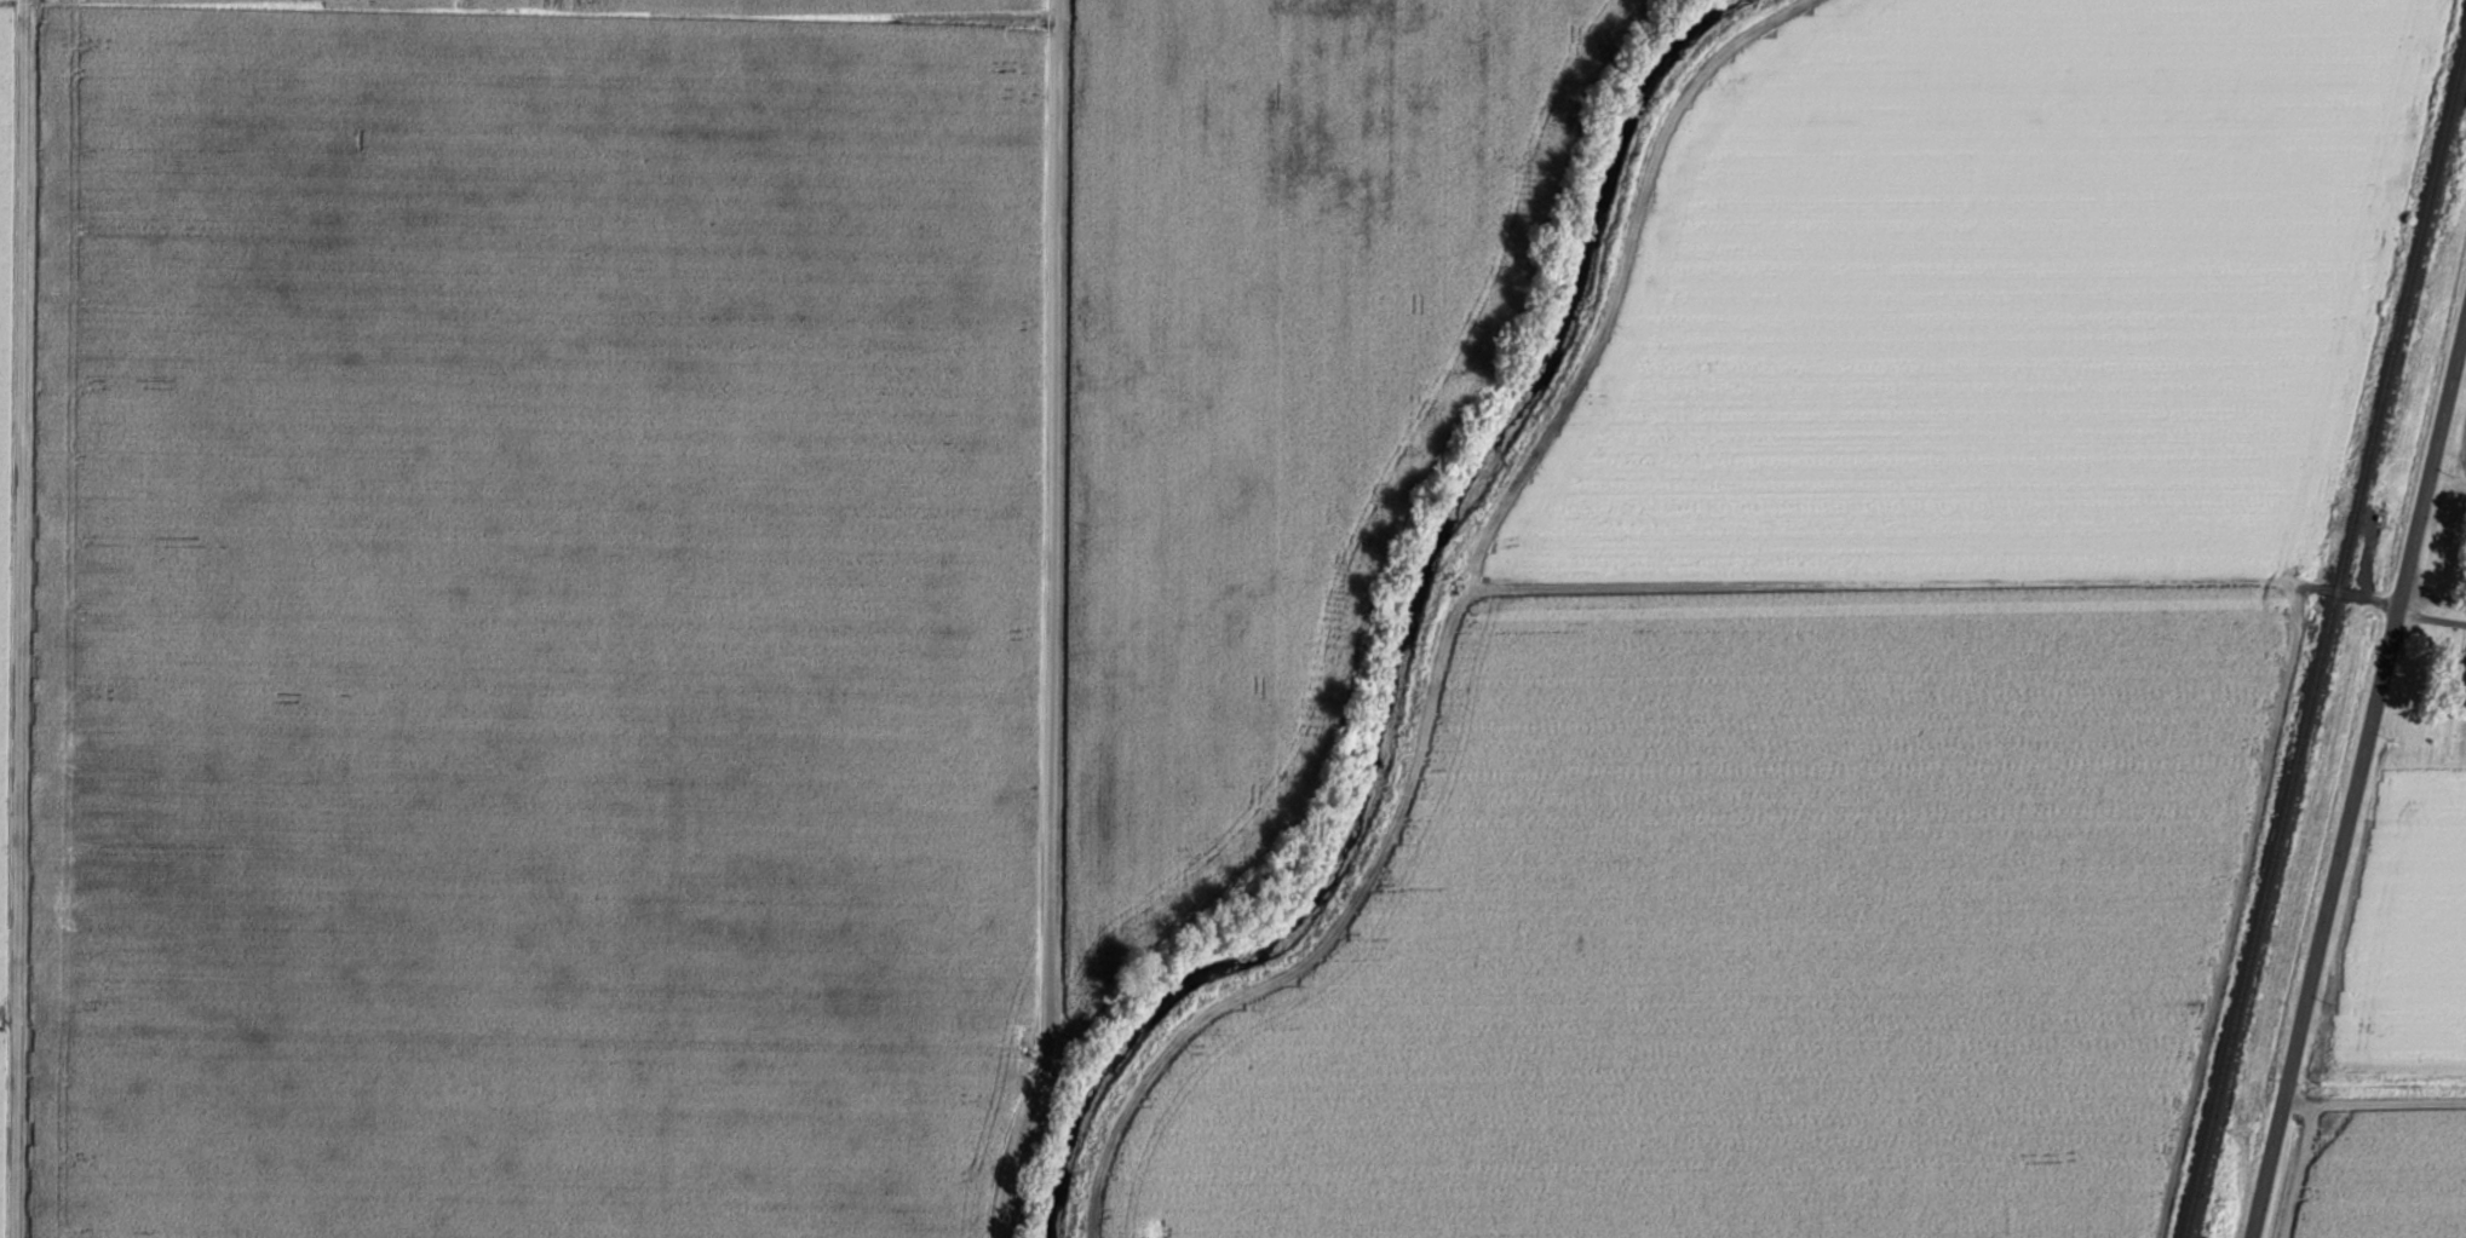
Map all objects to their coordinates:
road: (1059, 621)
railway: (2326, 639)
road: (2357, 776)

